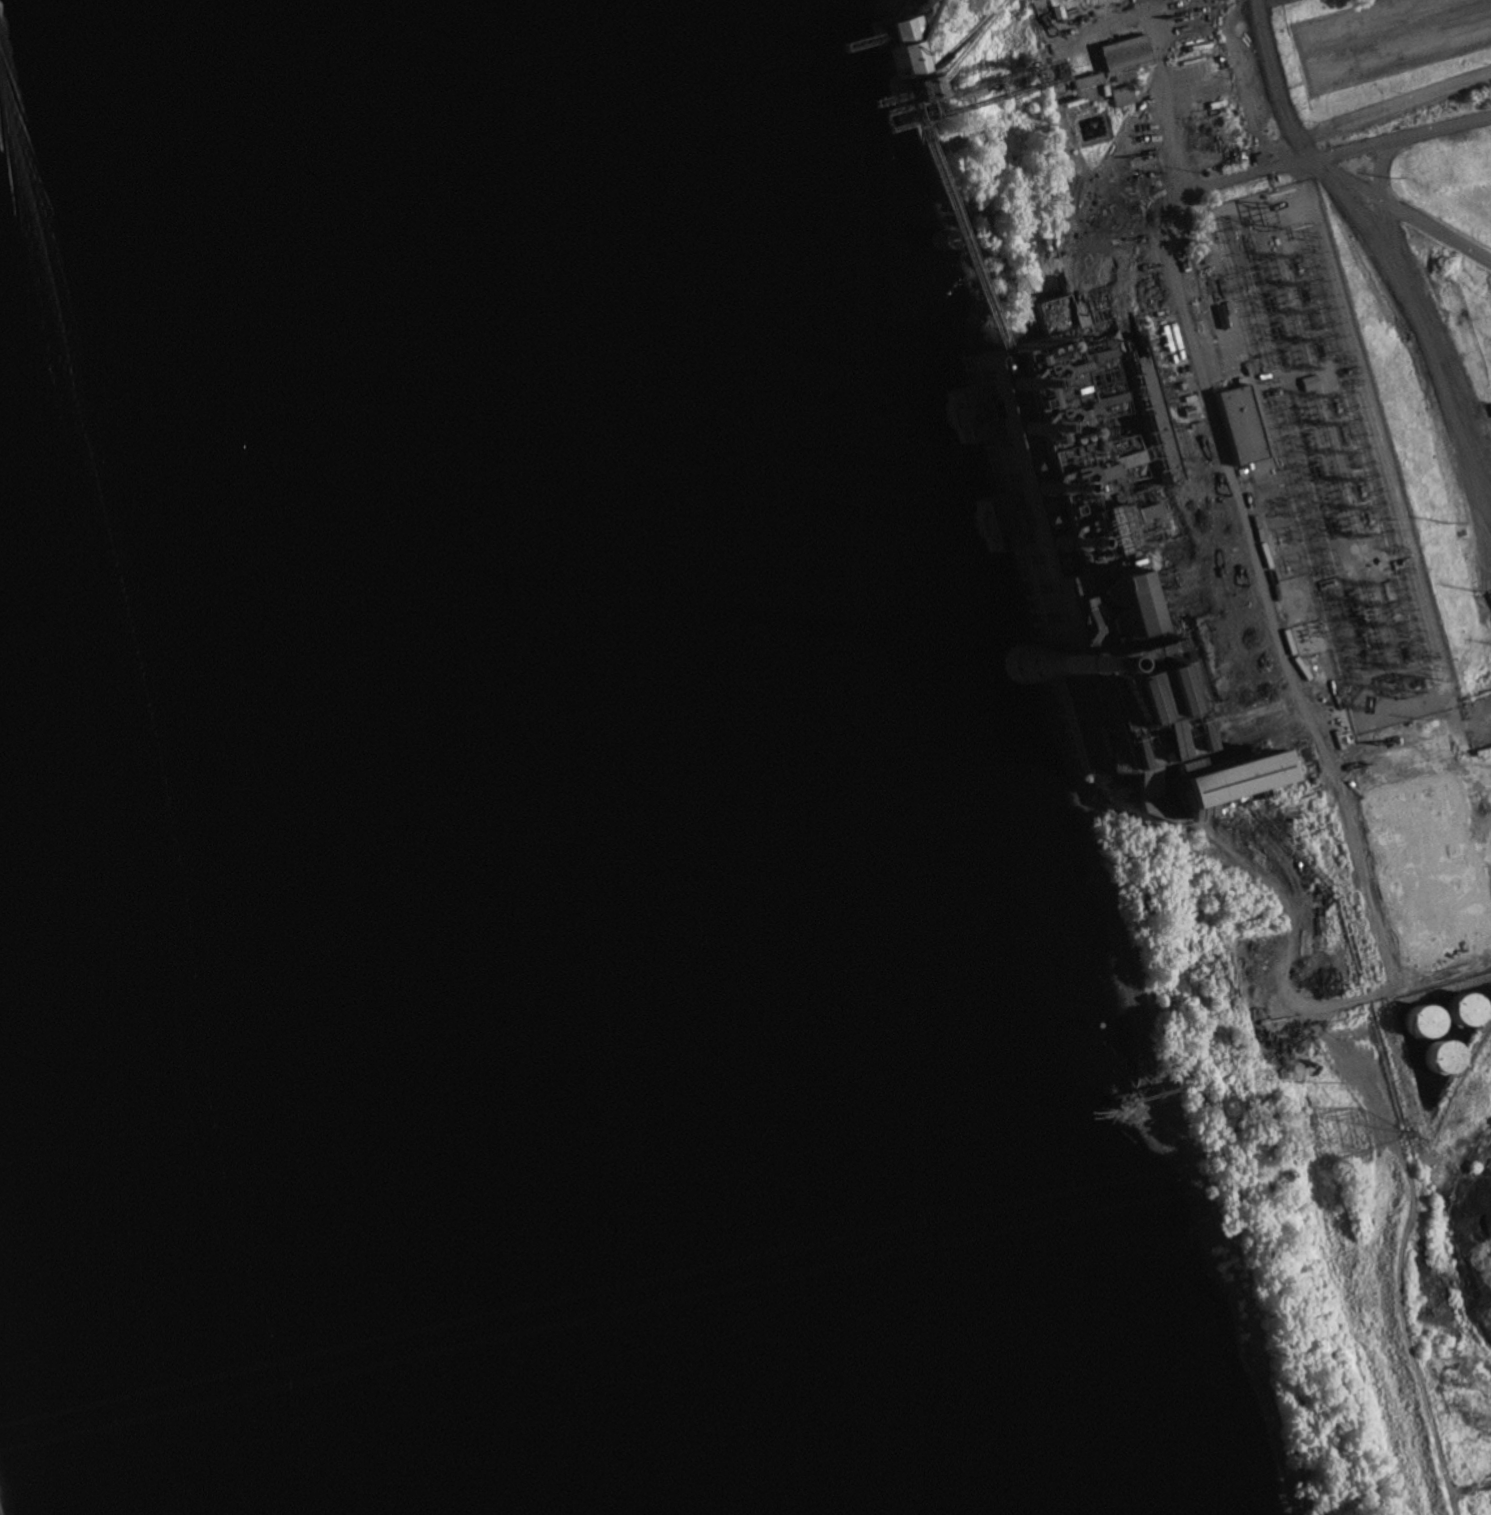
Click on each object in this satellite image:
road: (1258, 2)
road: (1376, 7)
parking lot: (1383, 38)
building: (895, 48)
road: (1235, 65)
road: (1274, 82)
parking lot: (1402, 101)
road: (1398, 136)
road: (1376, 170)
road: (1398, 212)
road: (1428, 364)
building: (1240, 424)
power substation: (1320, 453)
road: (1244, 526)
power tower: (1475, 591)
building: (1305, 614)
building: (1029, 675)
river: (517, 752)
building: (1256, 782)
road: (1442, 976)
building: (1459, 1008)
building: (1476, 1012)
building: (1416, 1020)
building: (1456, 1058)
building: (1429, 1061)
power tower: (1351, 1139)

